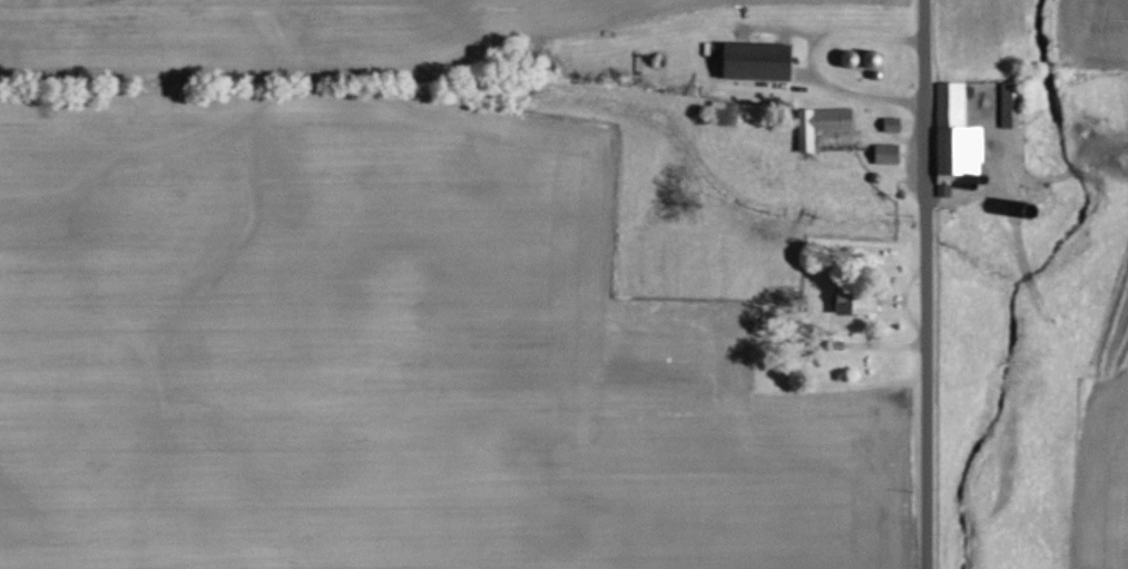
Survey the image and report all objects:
road: (812, 59)
building: (761, 61)
building: (823, 124)
building: (893, 124)
building: (958, 137)
building: (889, 154)
road: (924, 284)
building: (859, 302)

